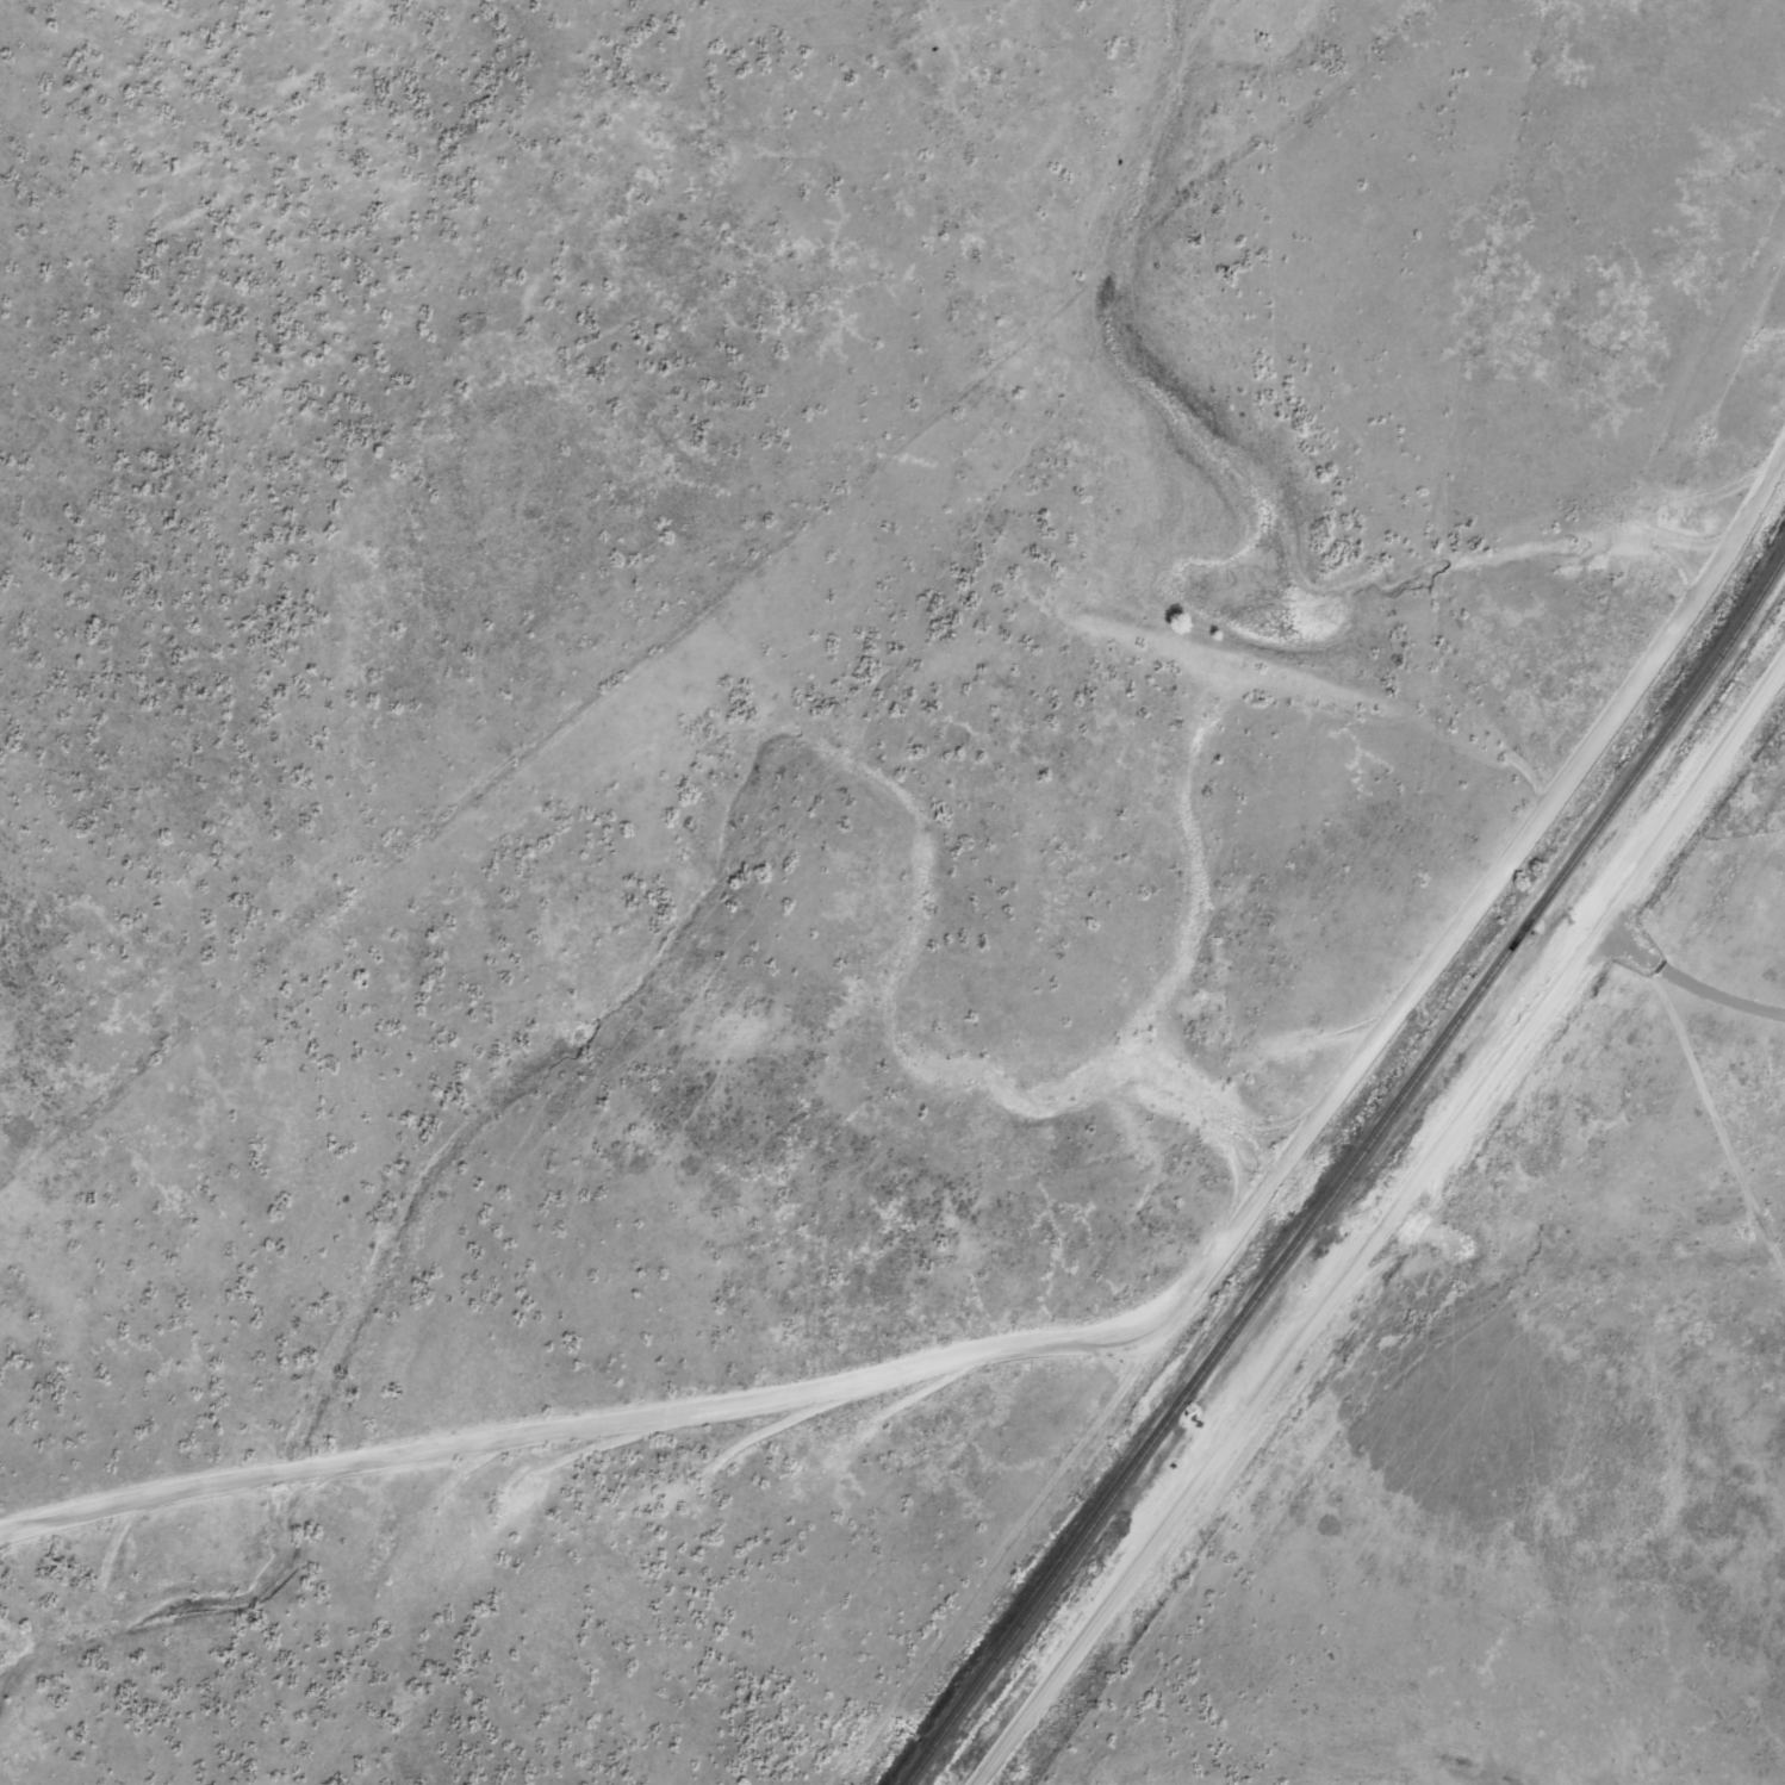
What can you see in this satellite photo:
road: (703, 567)
road: (1704, 1122)
railway: (1348, 1165)
road: (1408, 1194)
road: (999, 1753)

